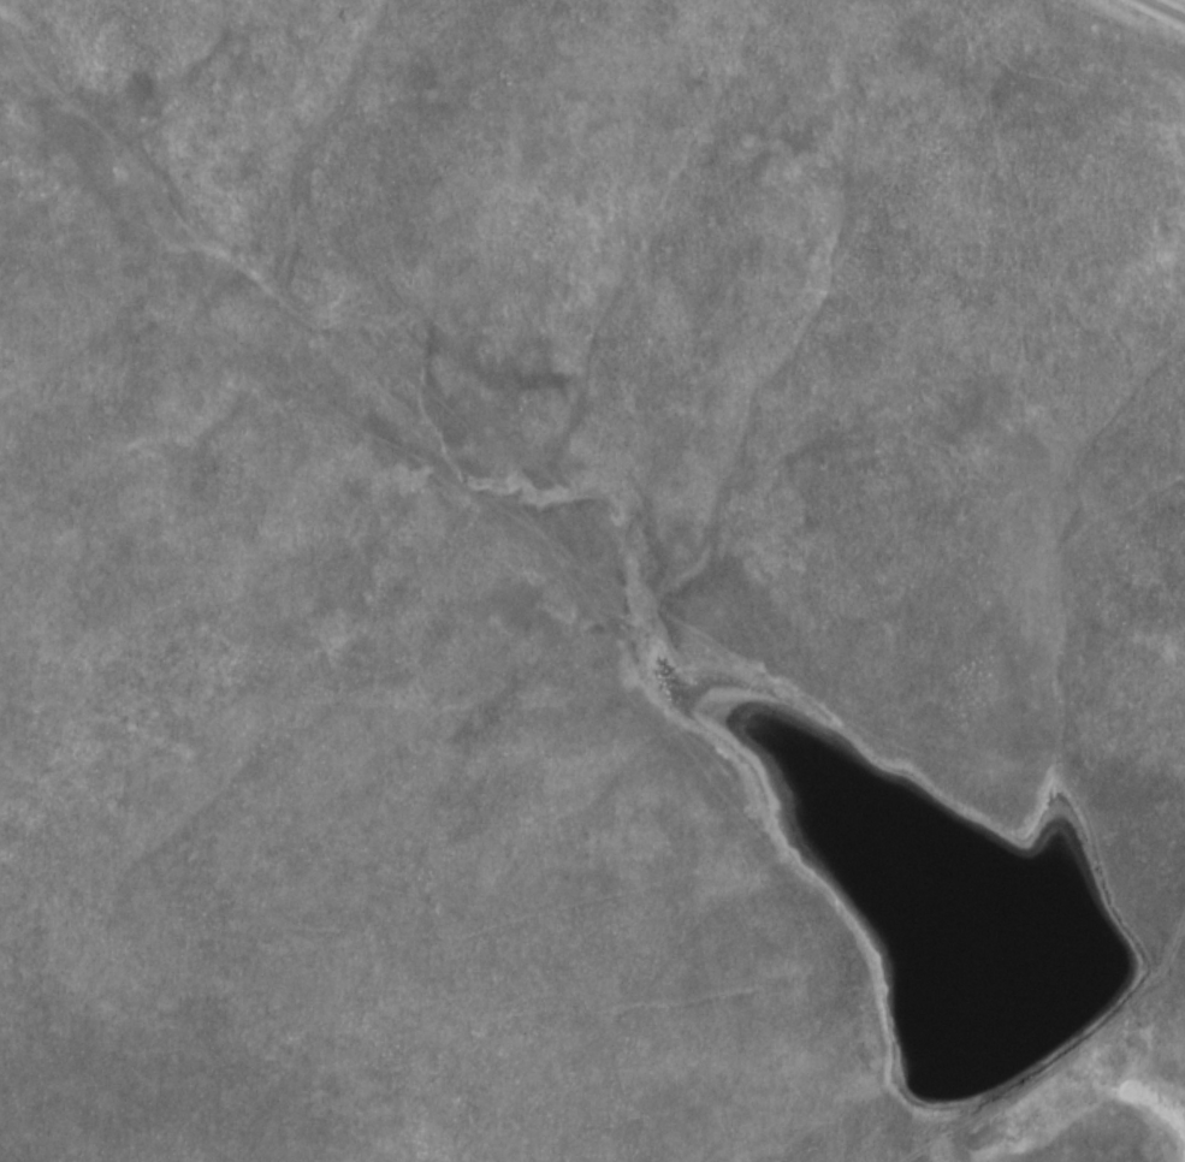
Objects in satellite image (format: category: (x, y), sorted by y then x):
road: (1161, 11)

